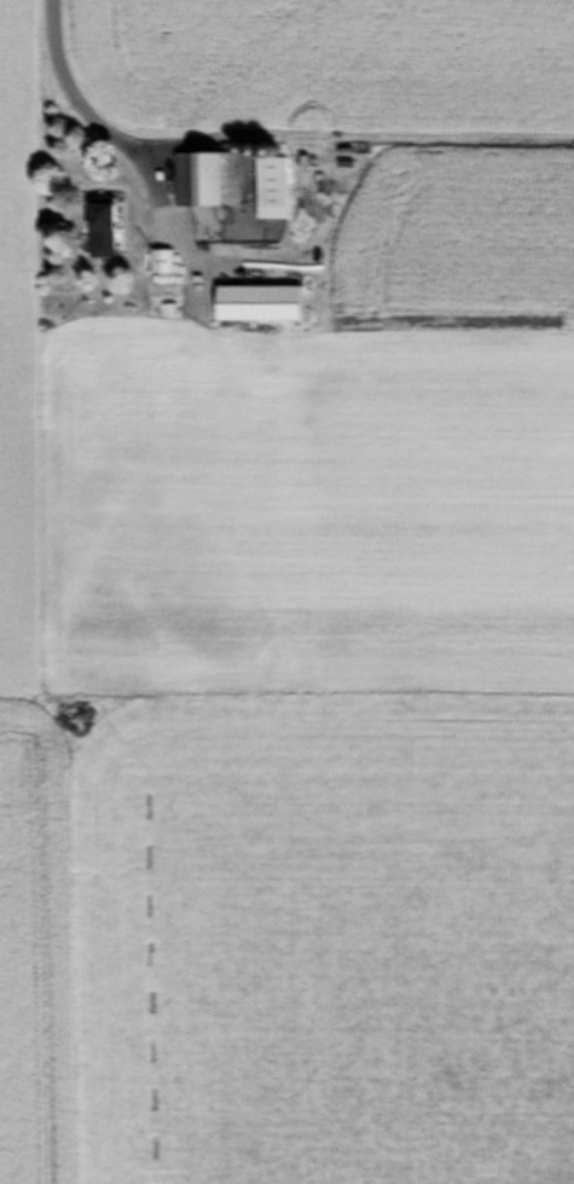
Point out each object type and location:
road: (53, 47)
building: (208, 181)
building: (272, 190)
building: (102, 230)
building: (162, 263)

